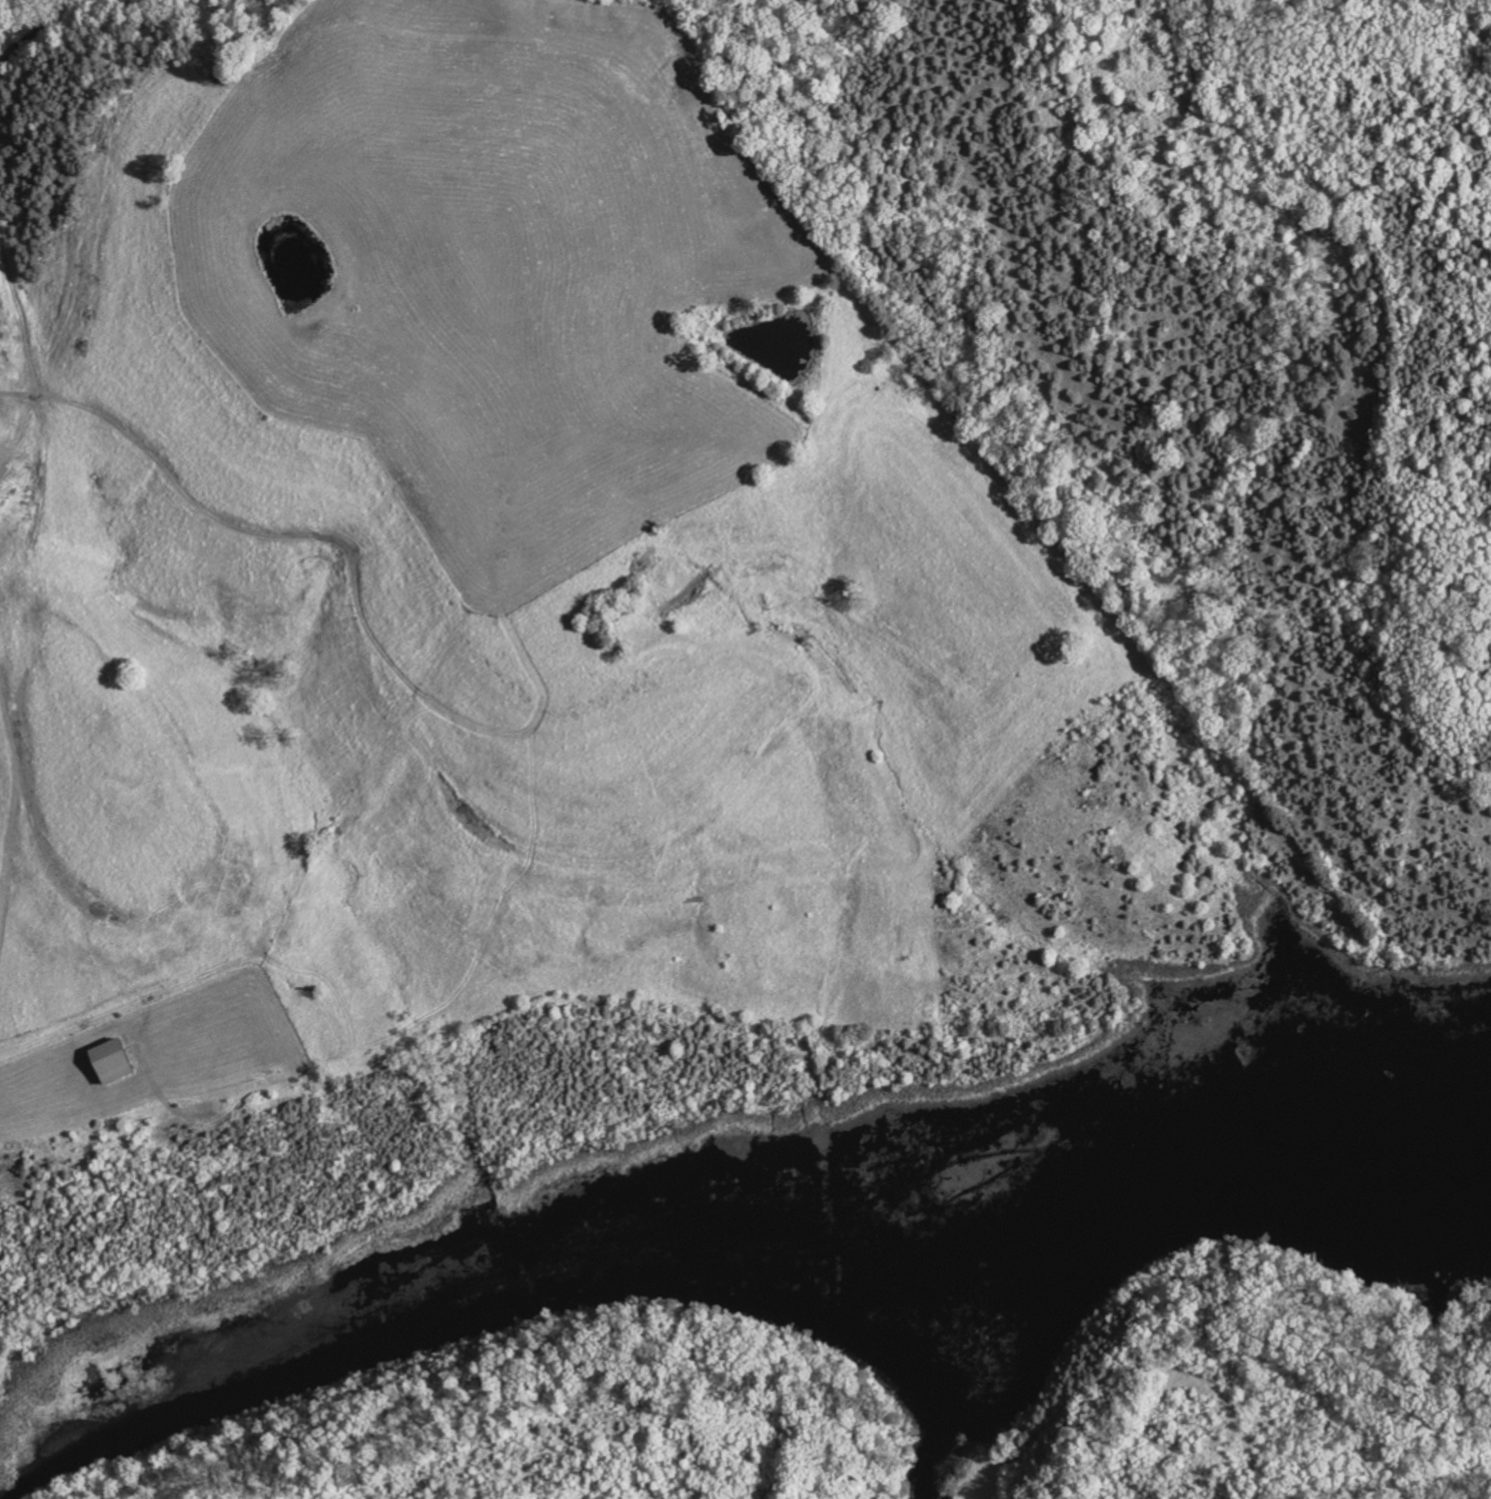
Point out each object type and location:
building: (118, 1061)

